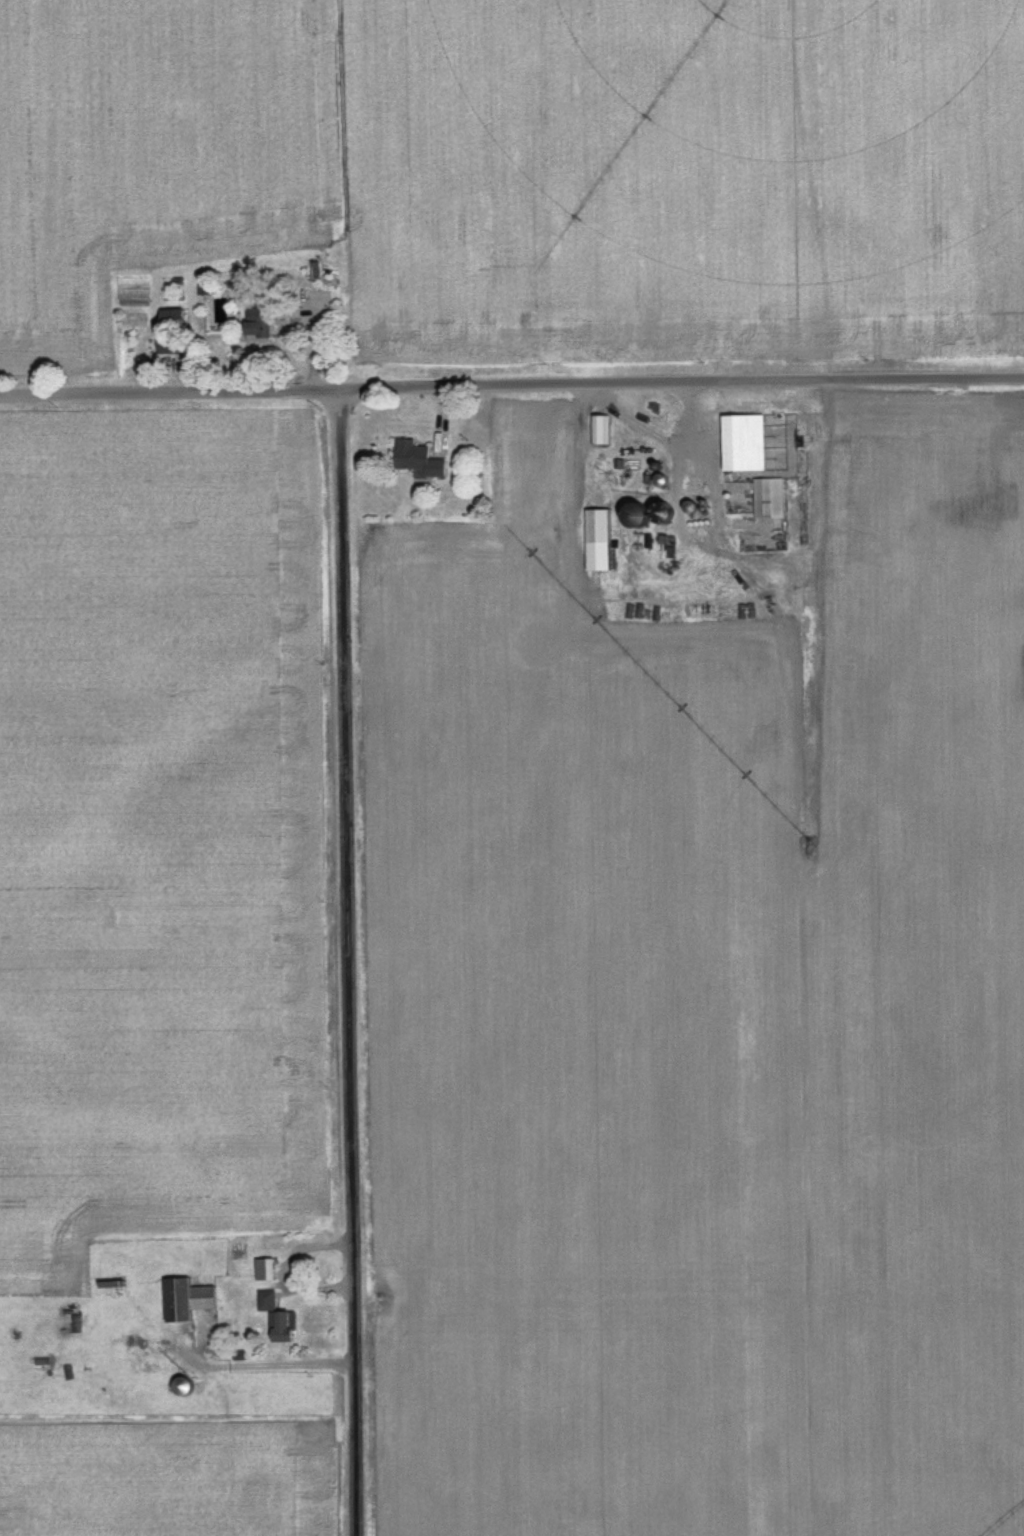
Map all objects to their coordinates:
crop: (156, 153)
crop: (685, 181)
building: (175, 317)
building: (267, 321)
building: (173, 348)
road: (512, 383)
building: (601, 430)
building: (746, 443)
building: (419, 460)
building: (737, 497)
building: (770, 499)
building: (663, 517)
building: (600, 540)
crop: (159, 834)
road: (350, 960)
crop: (702, 1014)
building: (266, 1270)
building: (189, 1300)
crop: (171, 1474)

